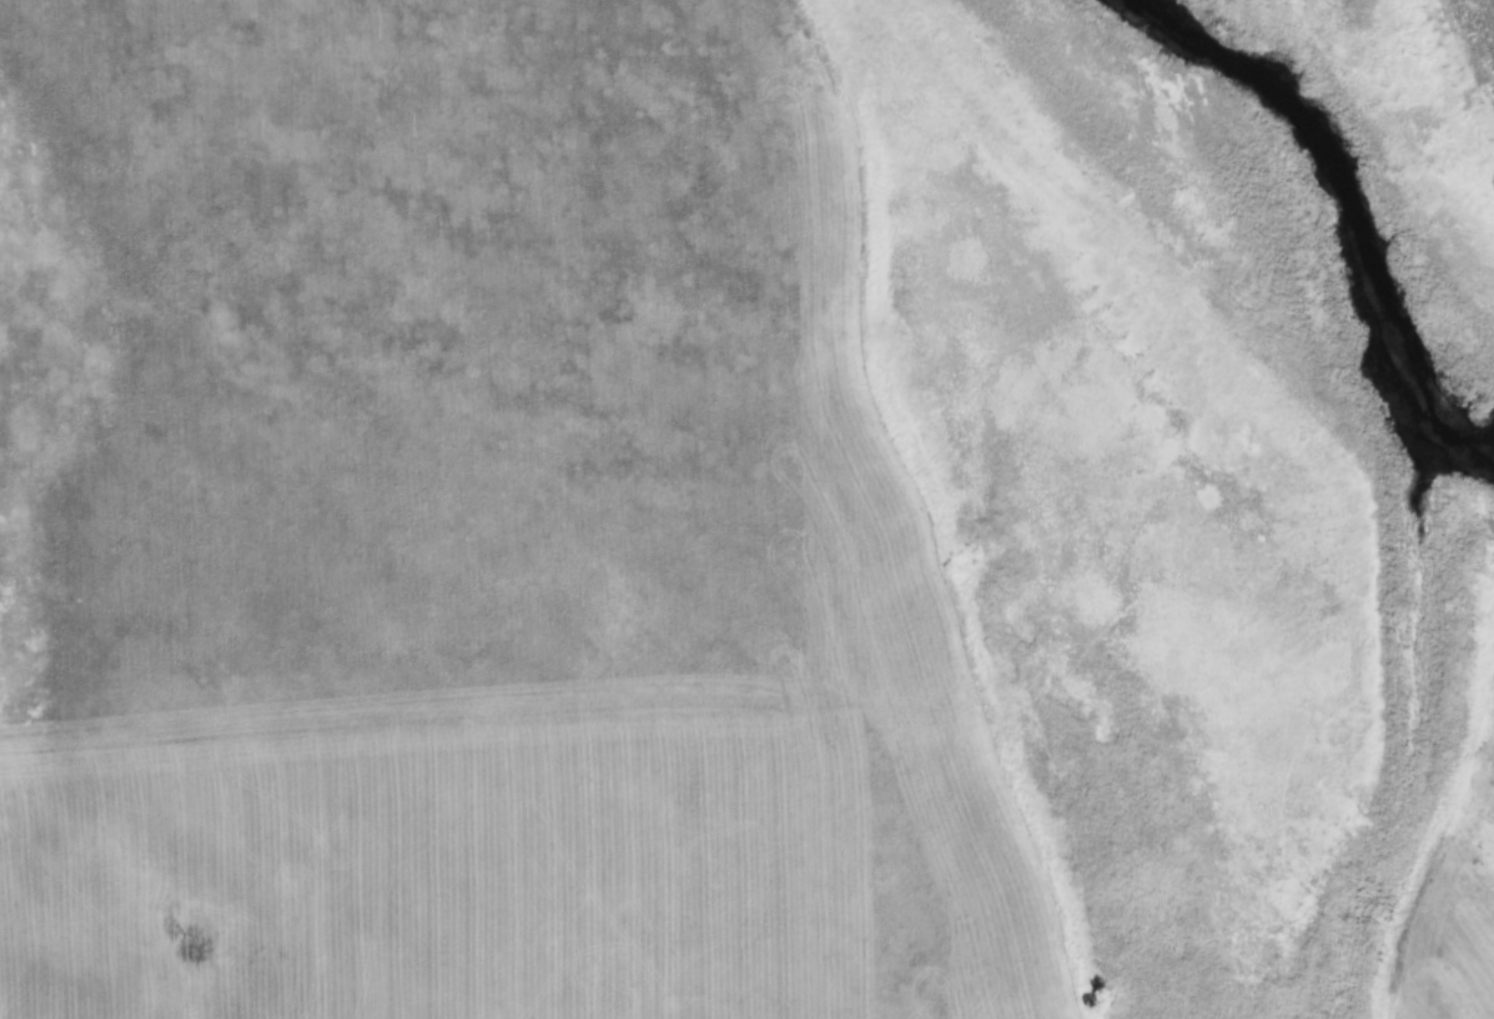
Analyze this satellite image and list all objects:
river: (1353, 211)

